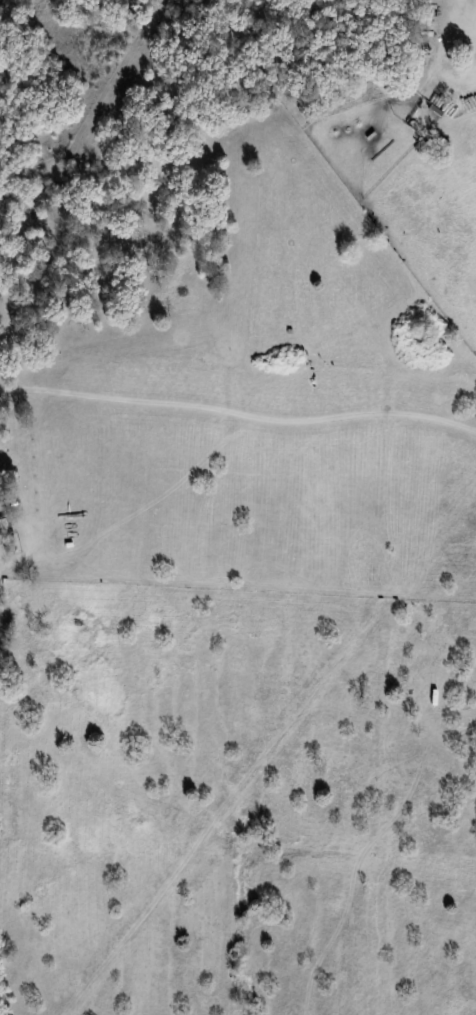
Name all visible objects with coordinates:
road: (266, 420)
building: (0, 554)

